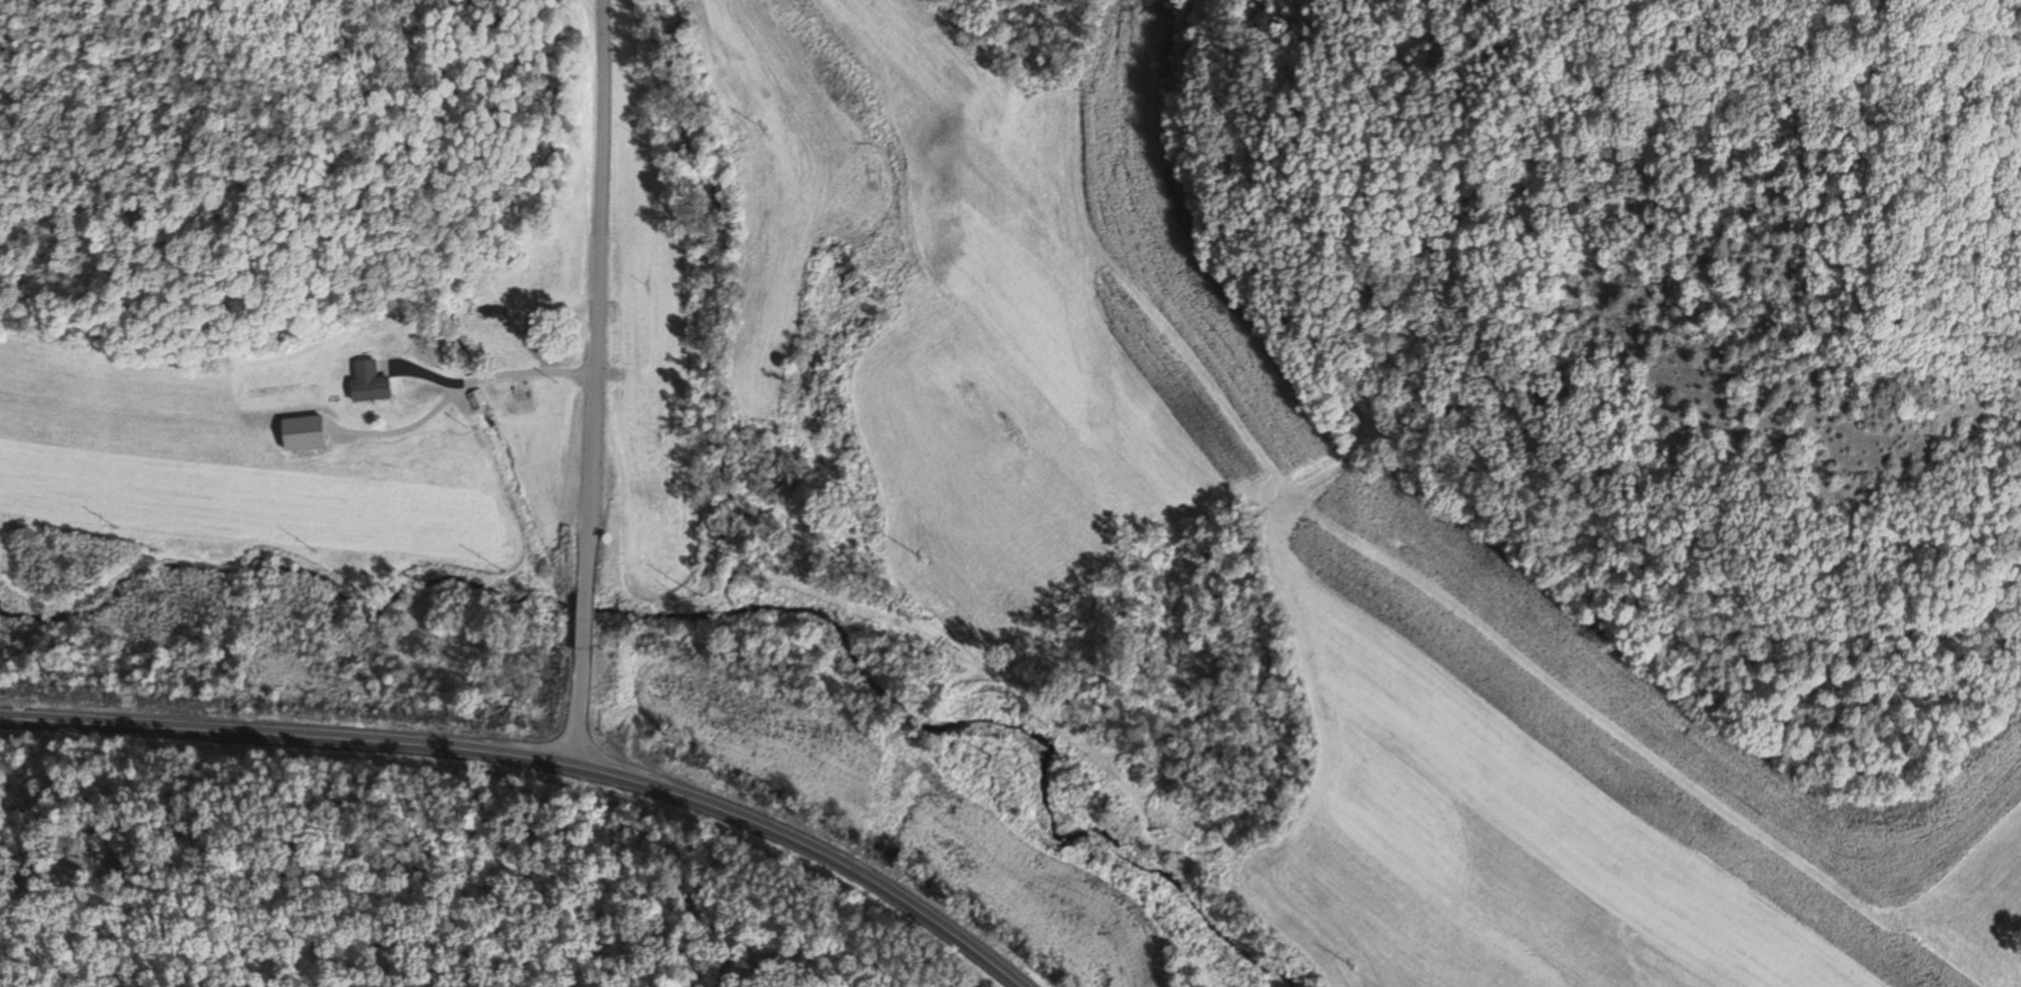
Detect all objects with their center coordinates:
building: (364, 383)
road: (594, 383)
building: (473, 399)
road: (540, 761)

